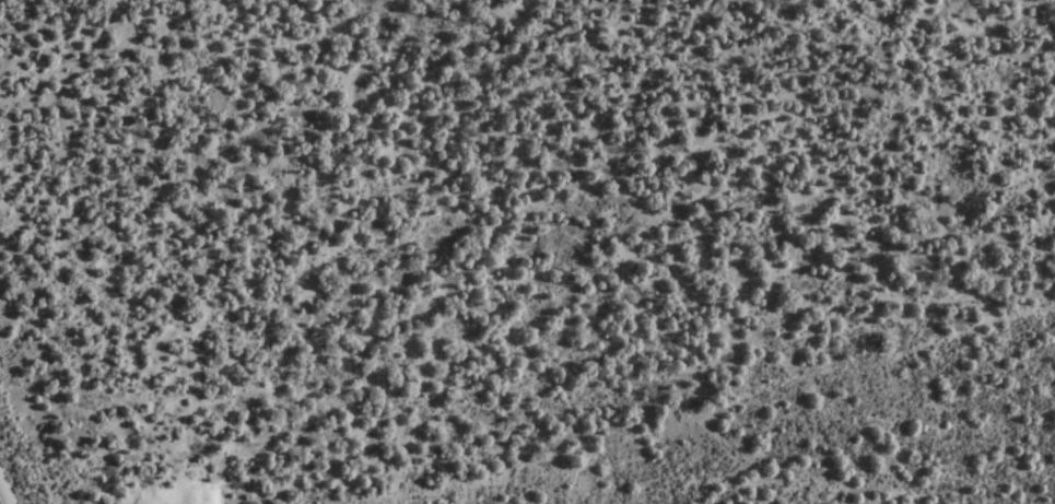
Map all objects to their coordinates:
road: (1, 501)

